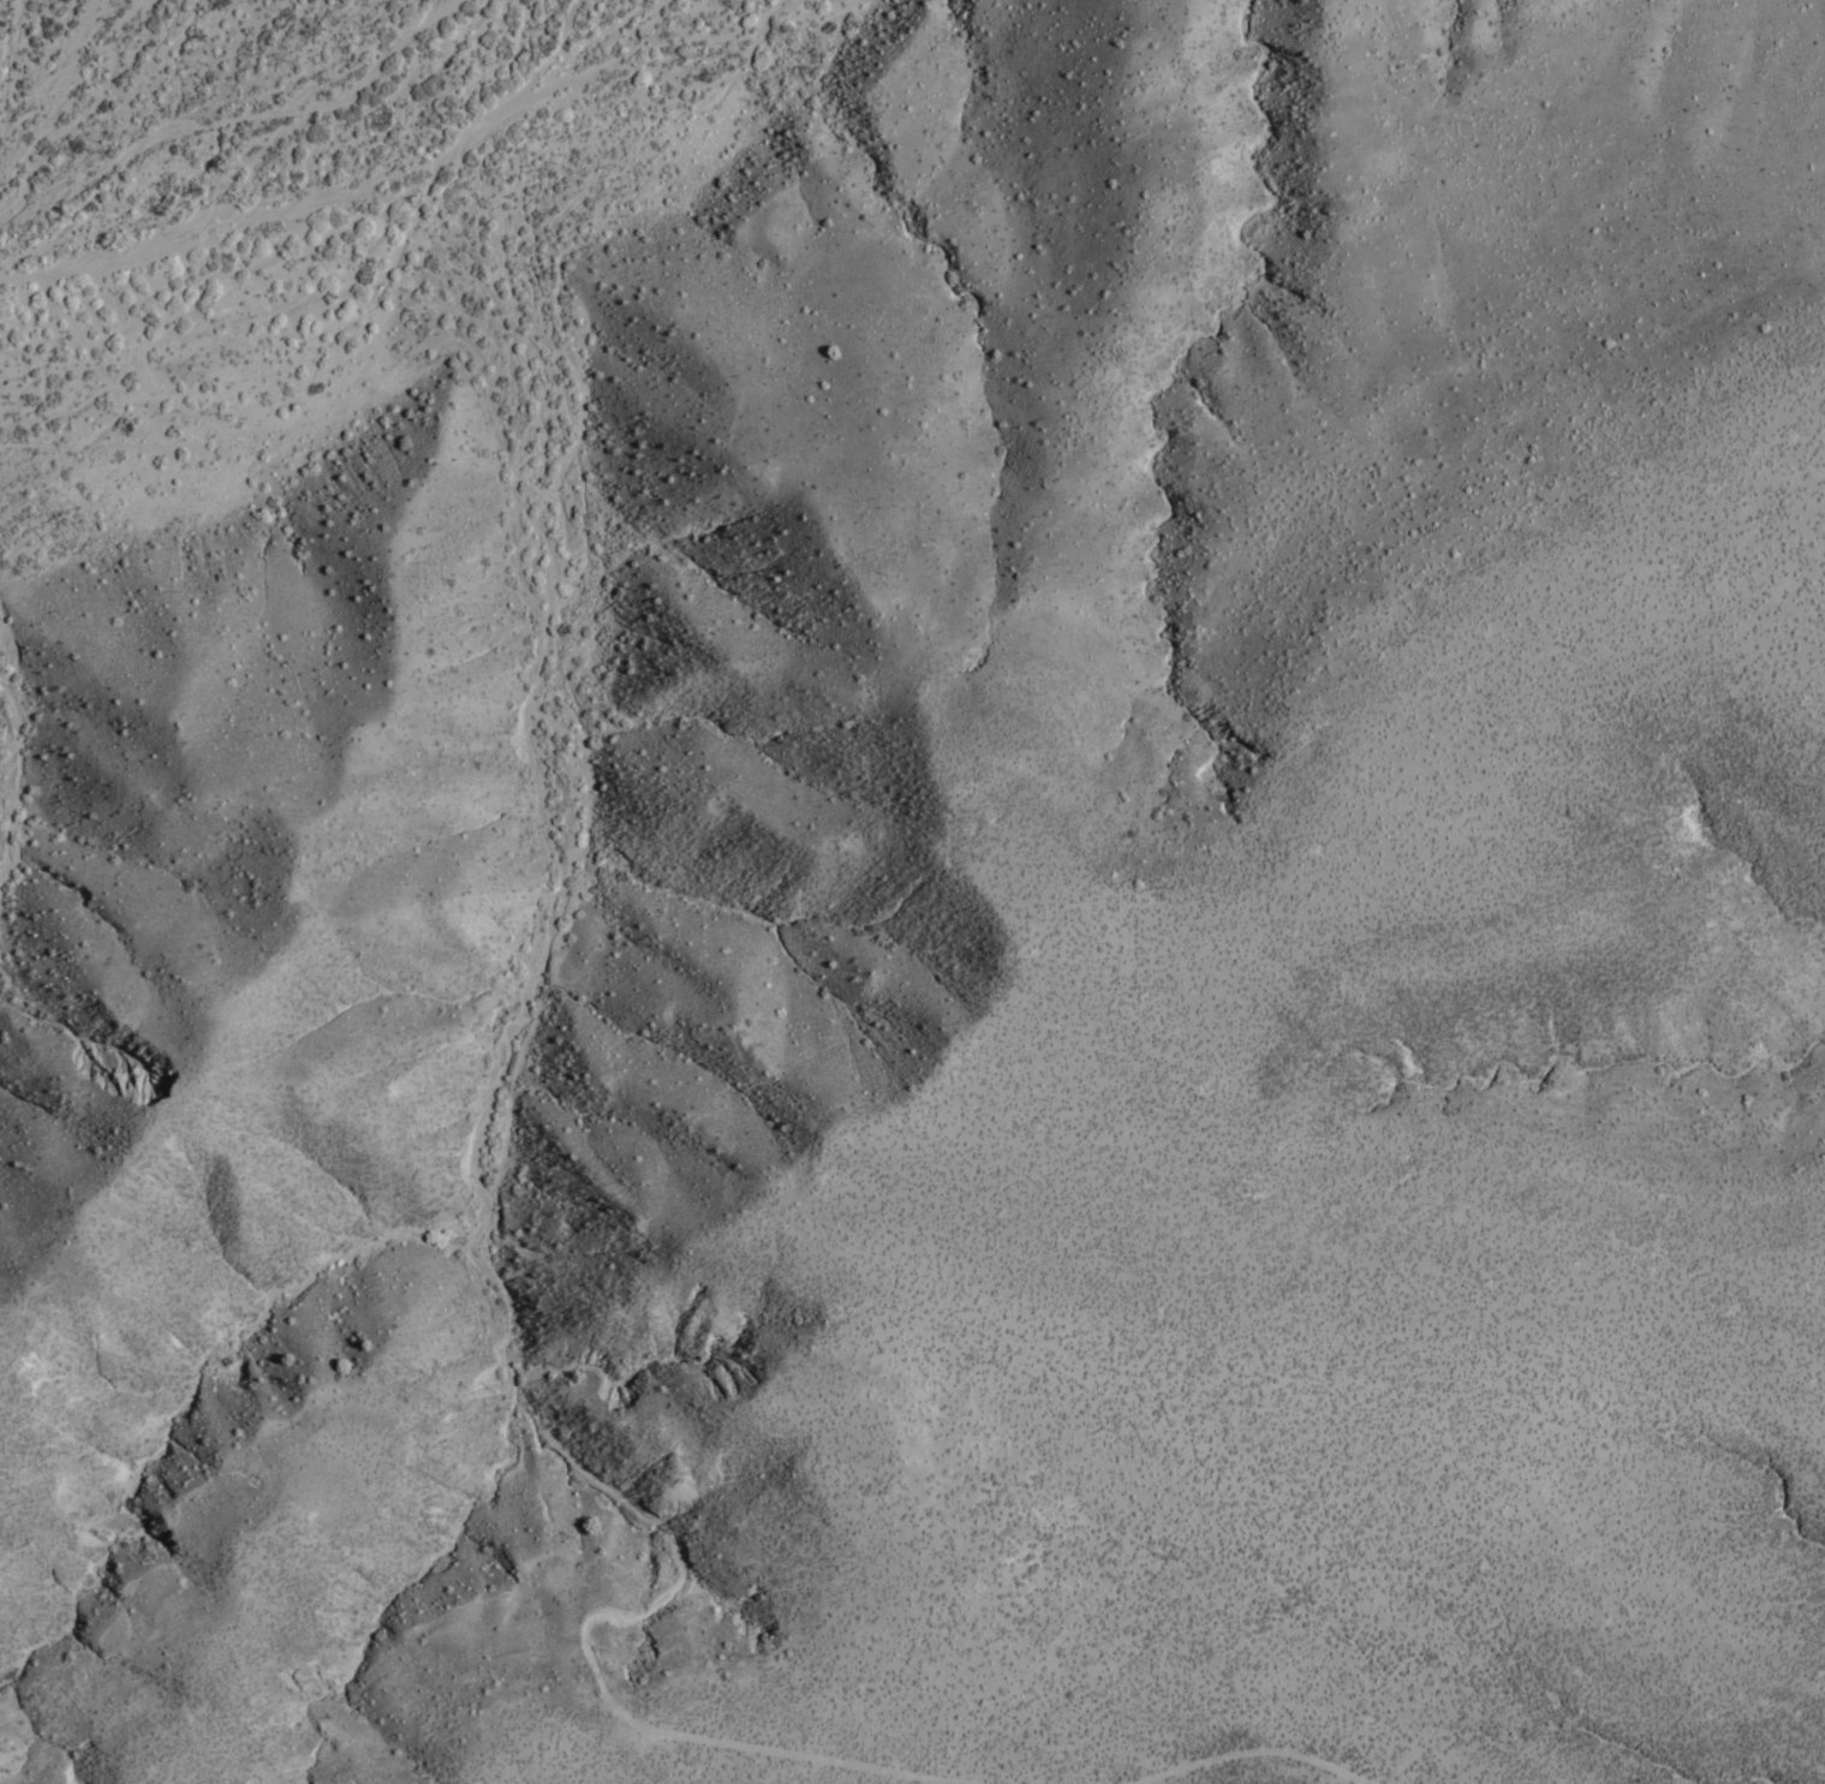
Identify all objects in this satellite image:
road: (650, 1521)
road: (1252, 1753)

